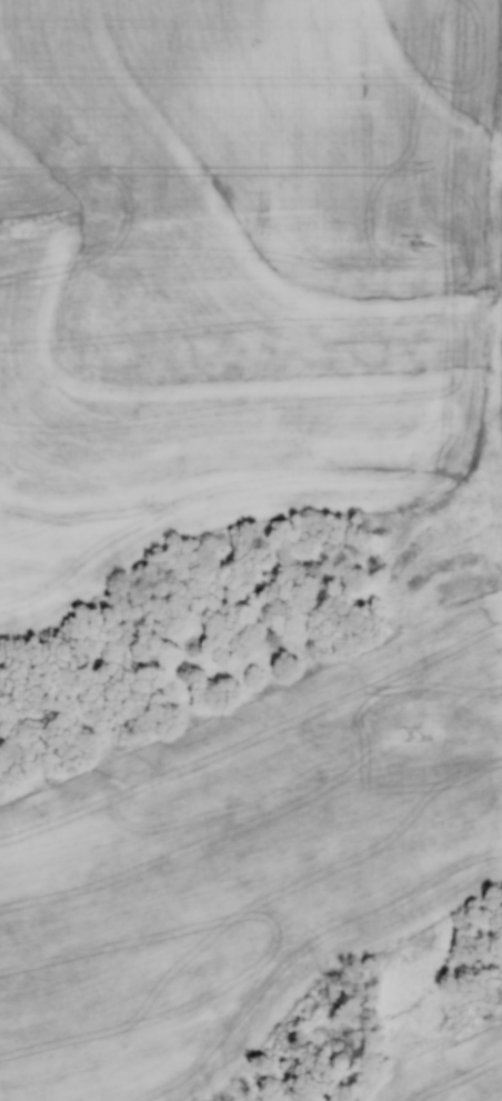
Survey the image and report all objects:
power tower: (420, 243)
power tower: (419, 730)

